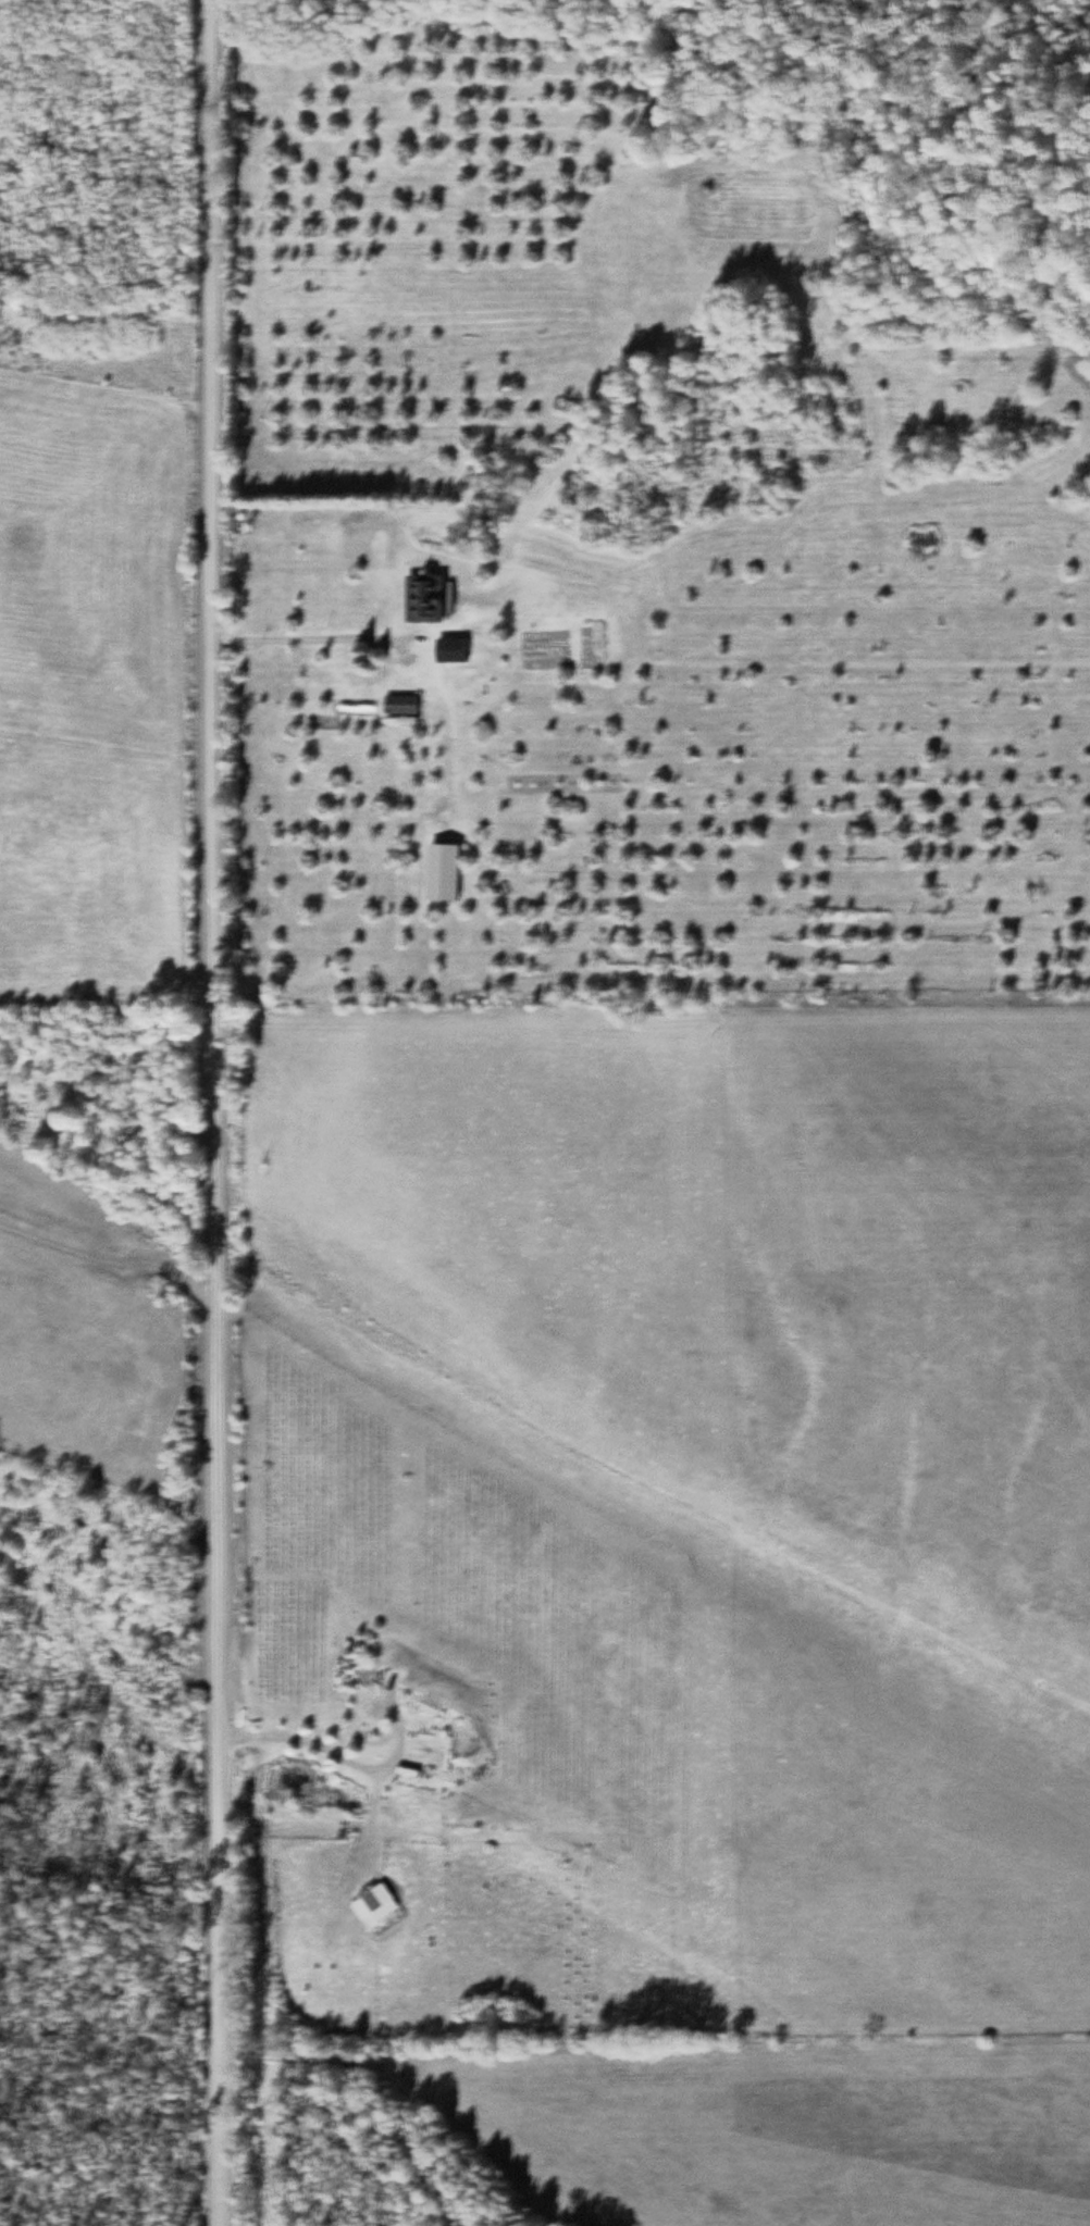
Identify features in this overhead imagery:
building: (433, 600)
building: (456, 652)
building: (408, 707)
building: (449, 873)
road: (215, 1112)
building: (394, 1908)

